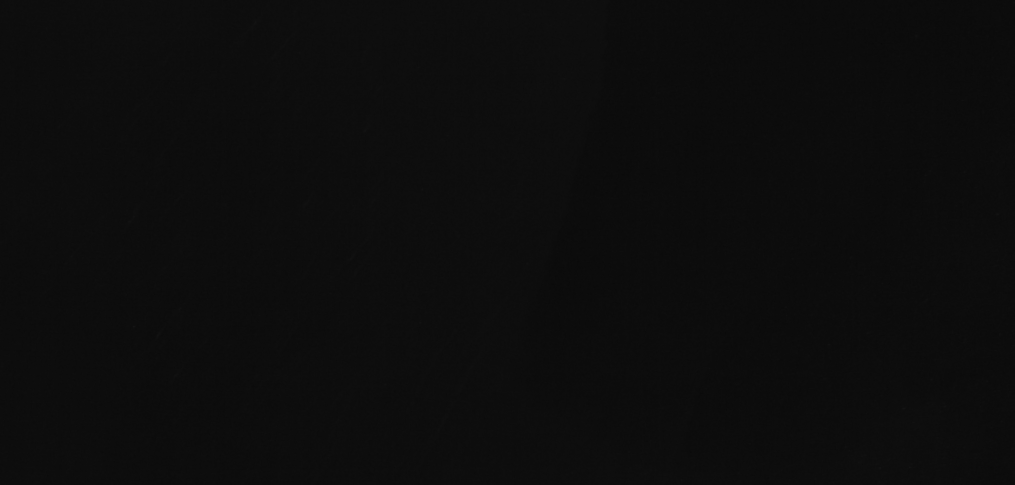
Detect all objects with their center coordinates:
river: (985, 83)

